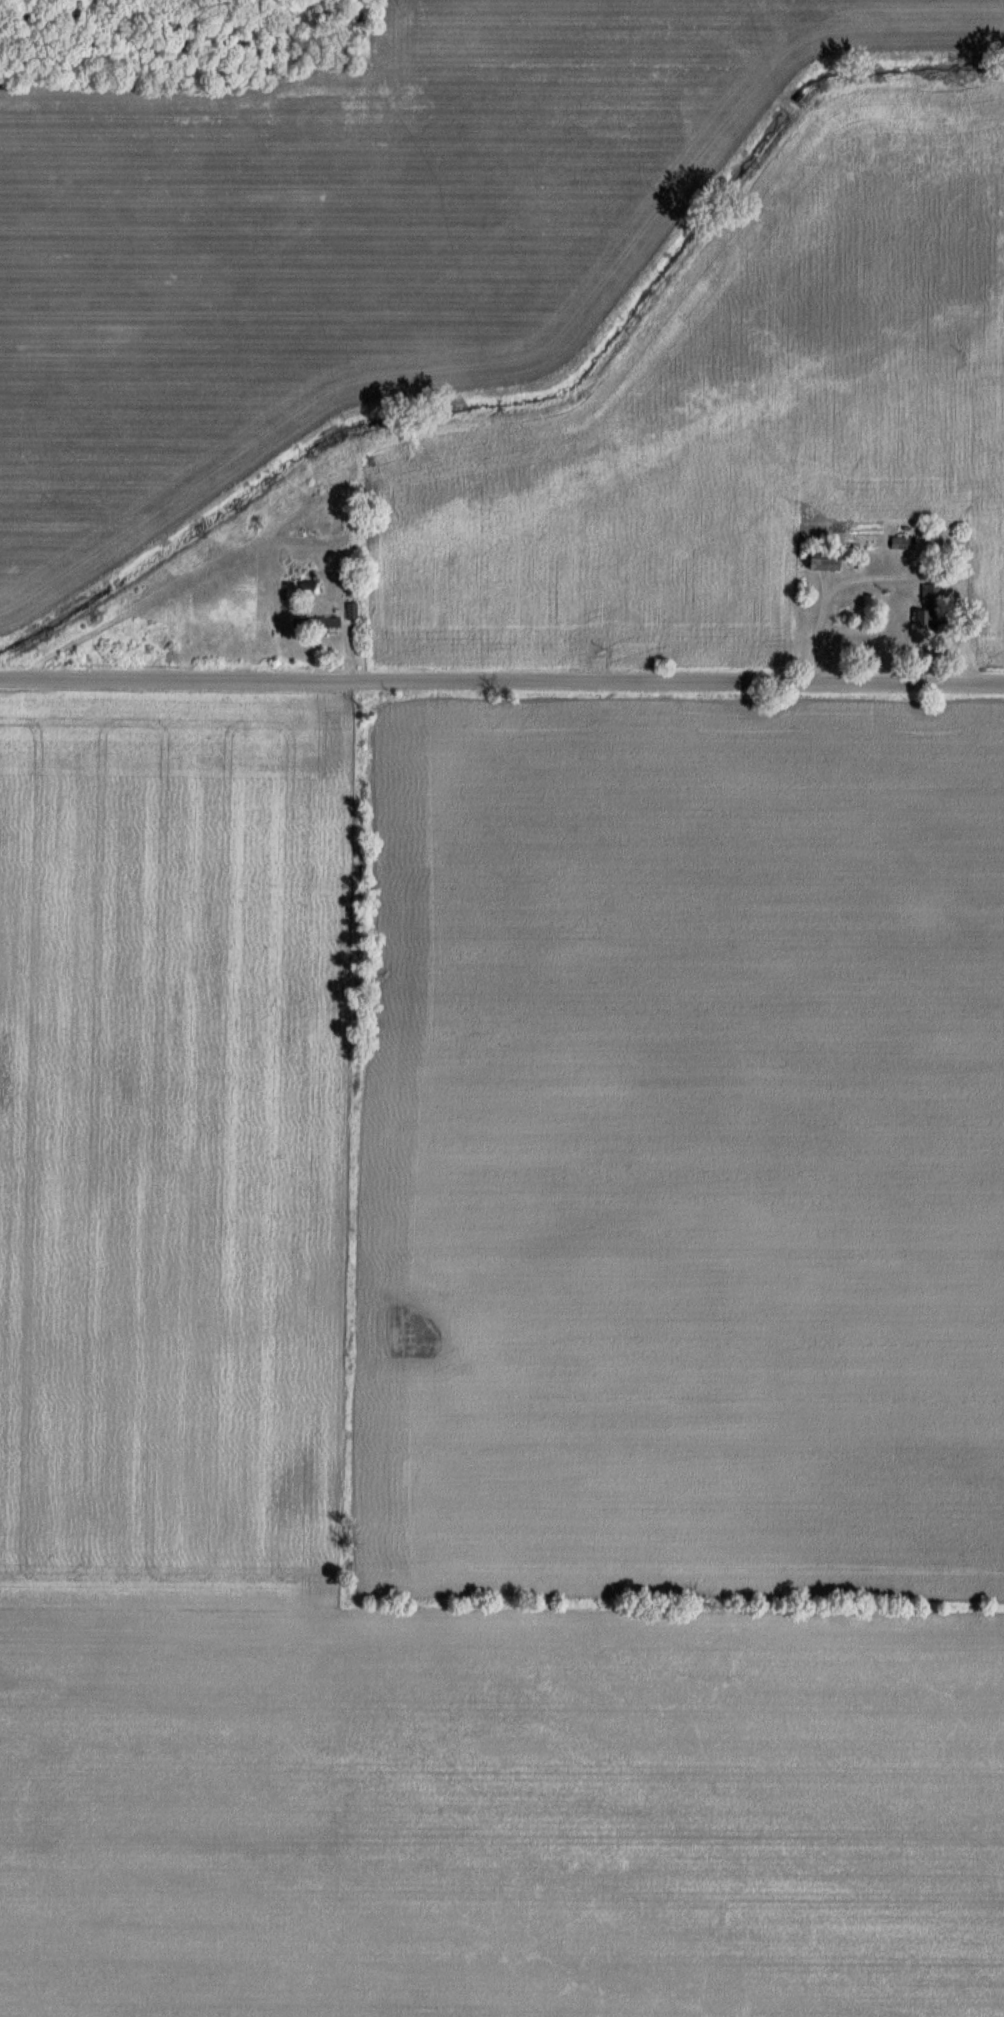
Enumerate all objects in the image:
building: (902, 544)
building: (821, 559)
road: (896, 575)
building: (305, 584)
building: (927, 609)
building: (350, 611)
building: (314, 624)
road: (501, 681)

